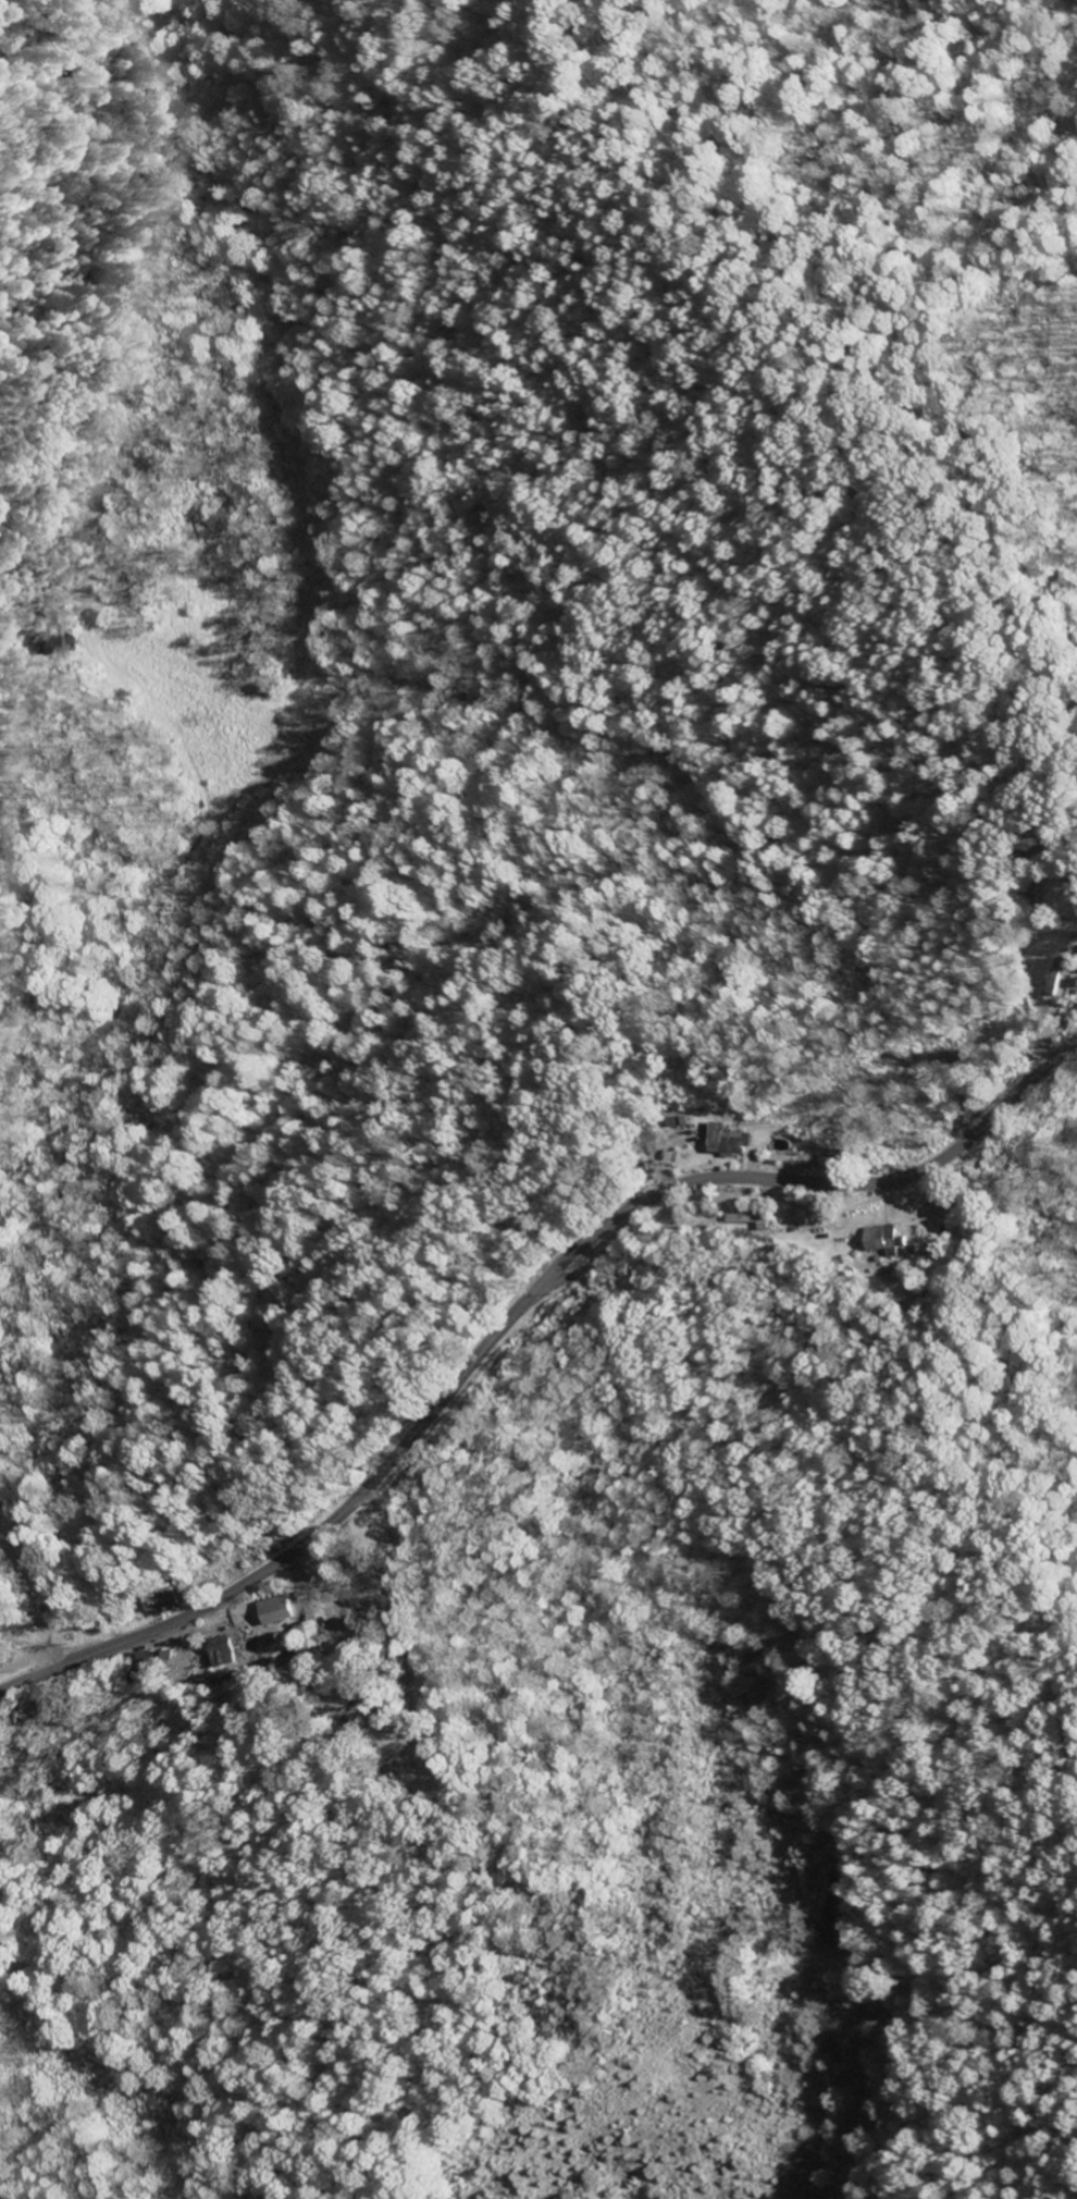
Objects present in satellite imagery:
road: (28, 621)
building: (728, 1143)
building: (748, 1221)
building: (881, 1242)
road: (517, 1310)
road: (893, 1423)
building: (162, 1607)
building: (275, 1611)
building: (309, 1639)

